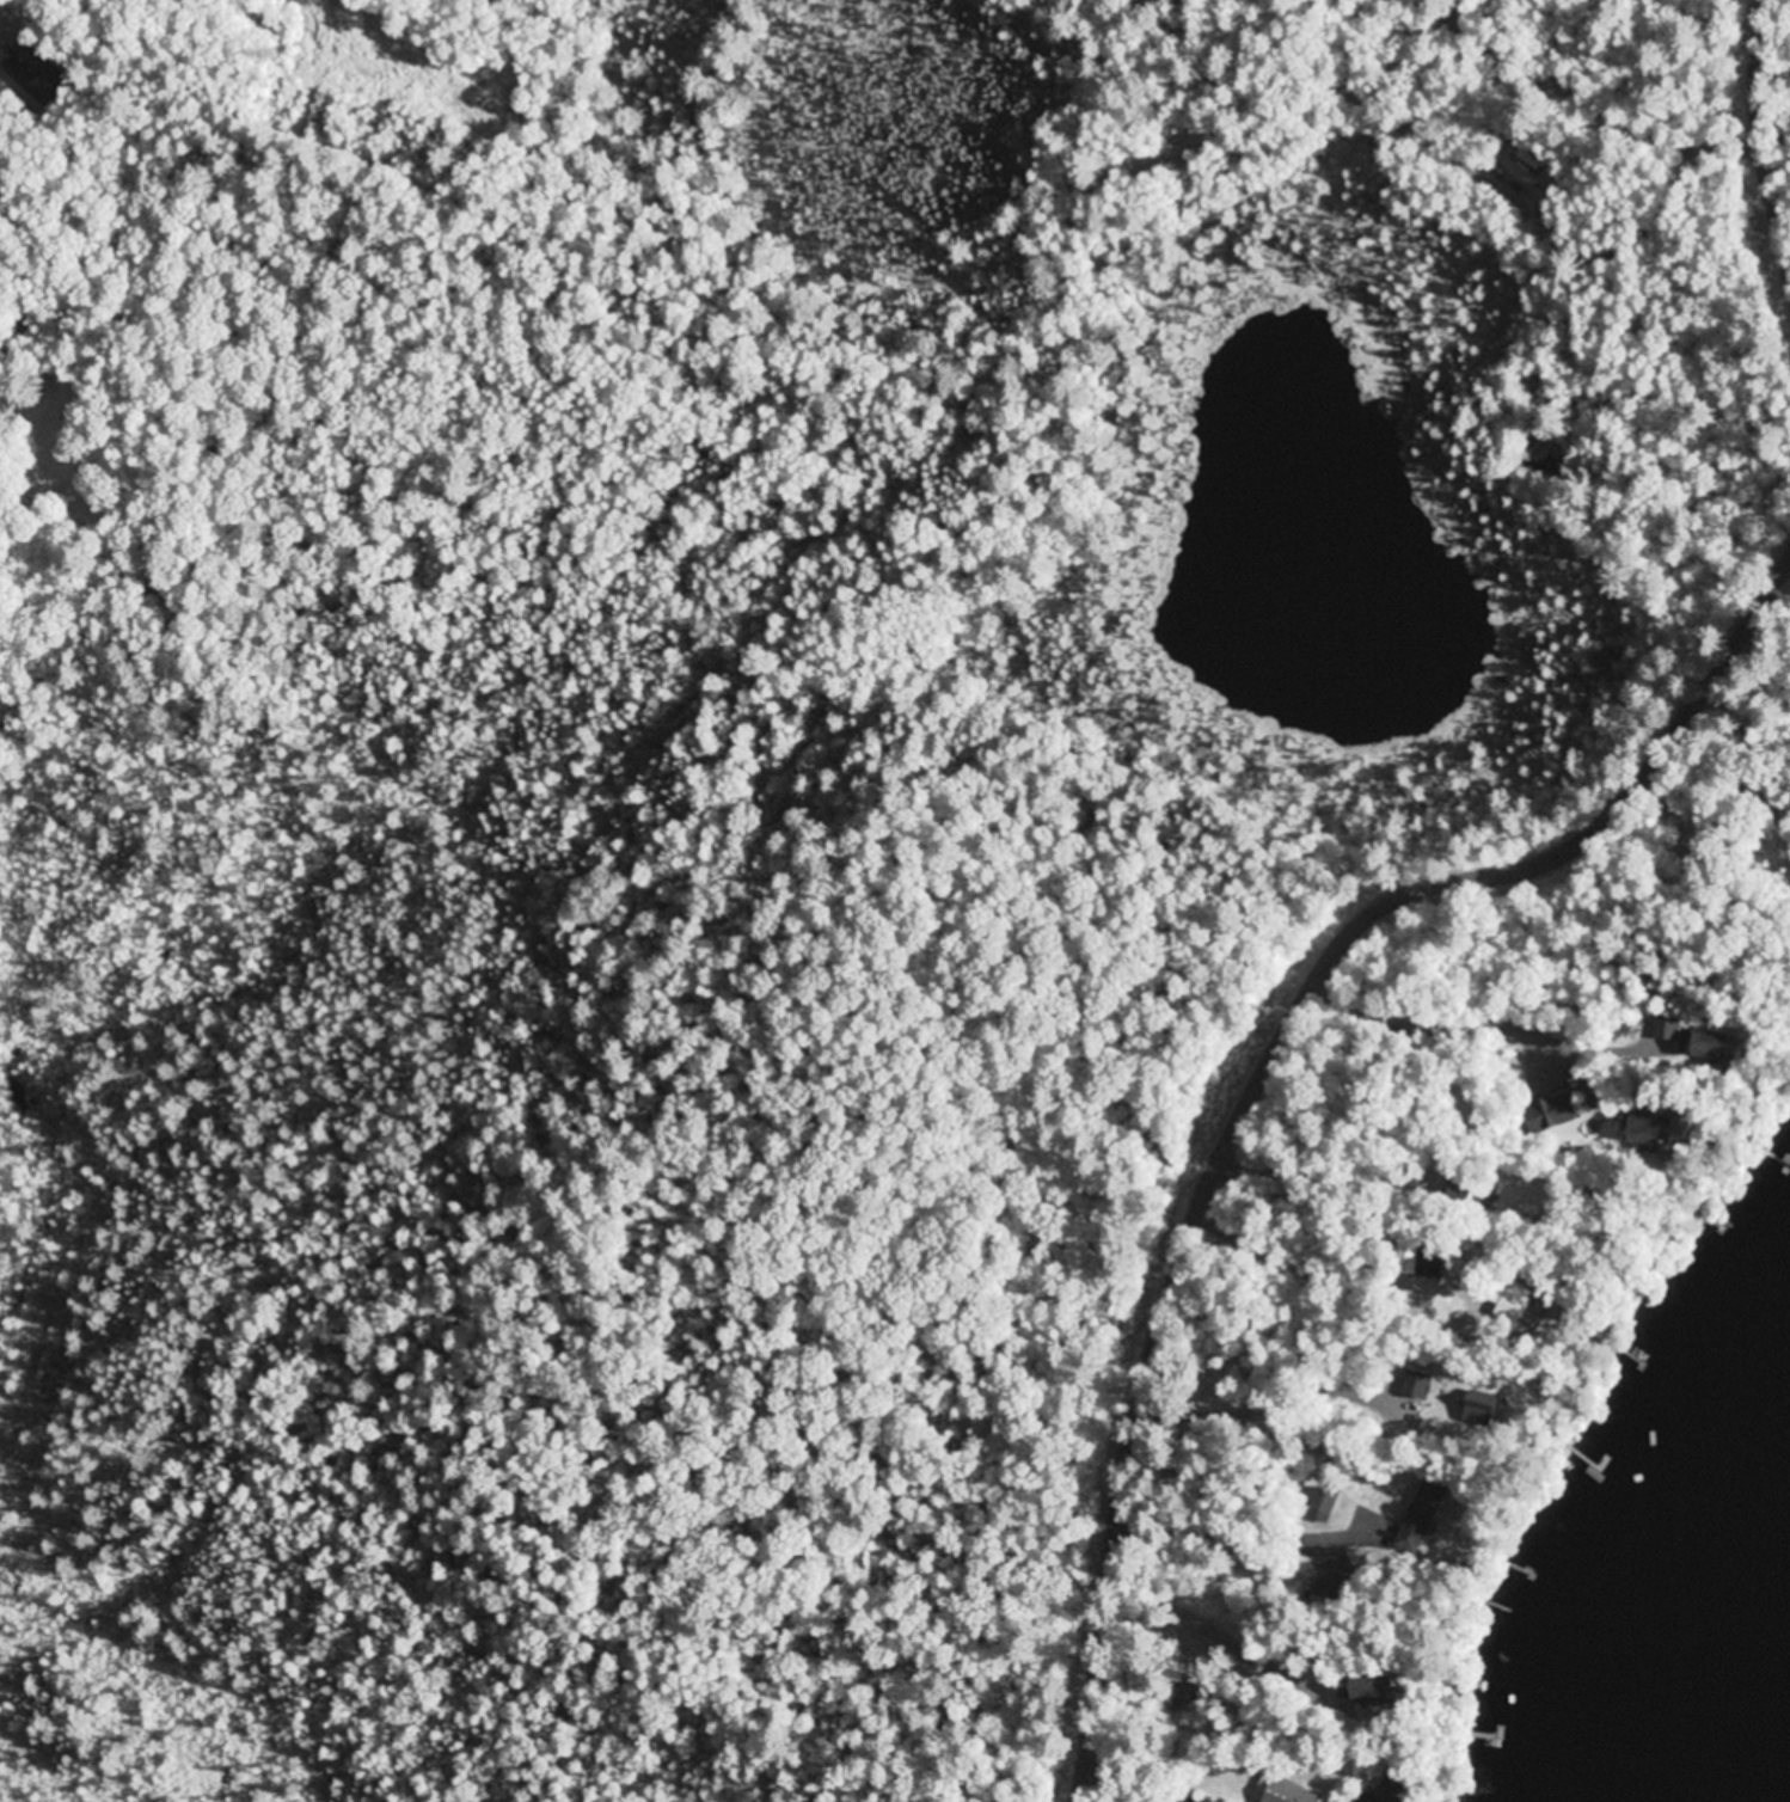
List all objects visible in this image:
road: (1765, 122)
building: (1667, 1029)
building: (1723, 1048)
road: (1265, 1066)
building: (1561, 1110)
building: (1661, 1132)
building: (1463, 1195)
building: (1515, 1300)
building: (1423, 1519)
building: (1380, 1693)
building: (1289, 1794)
building: (1387, 1794)

